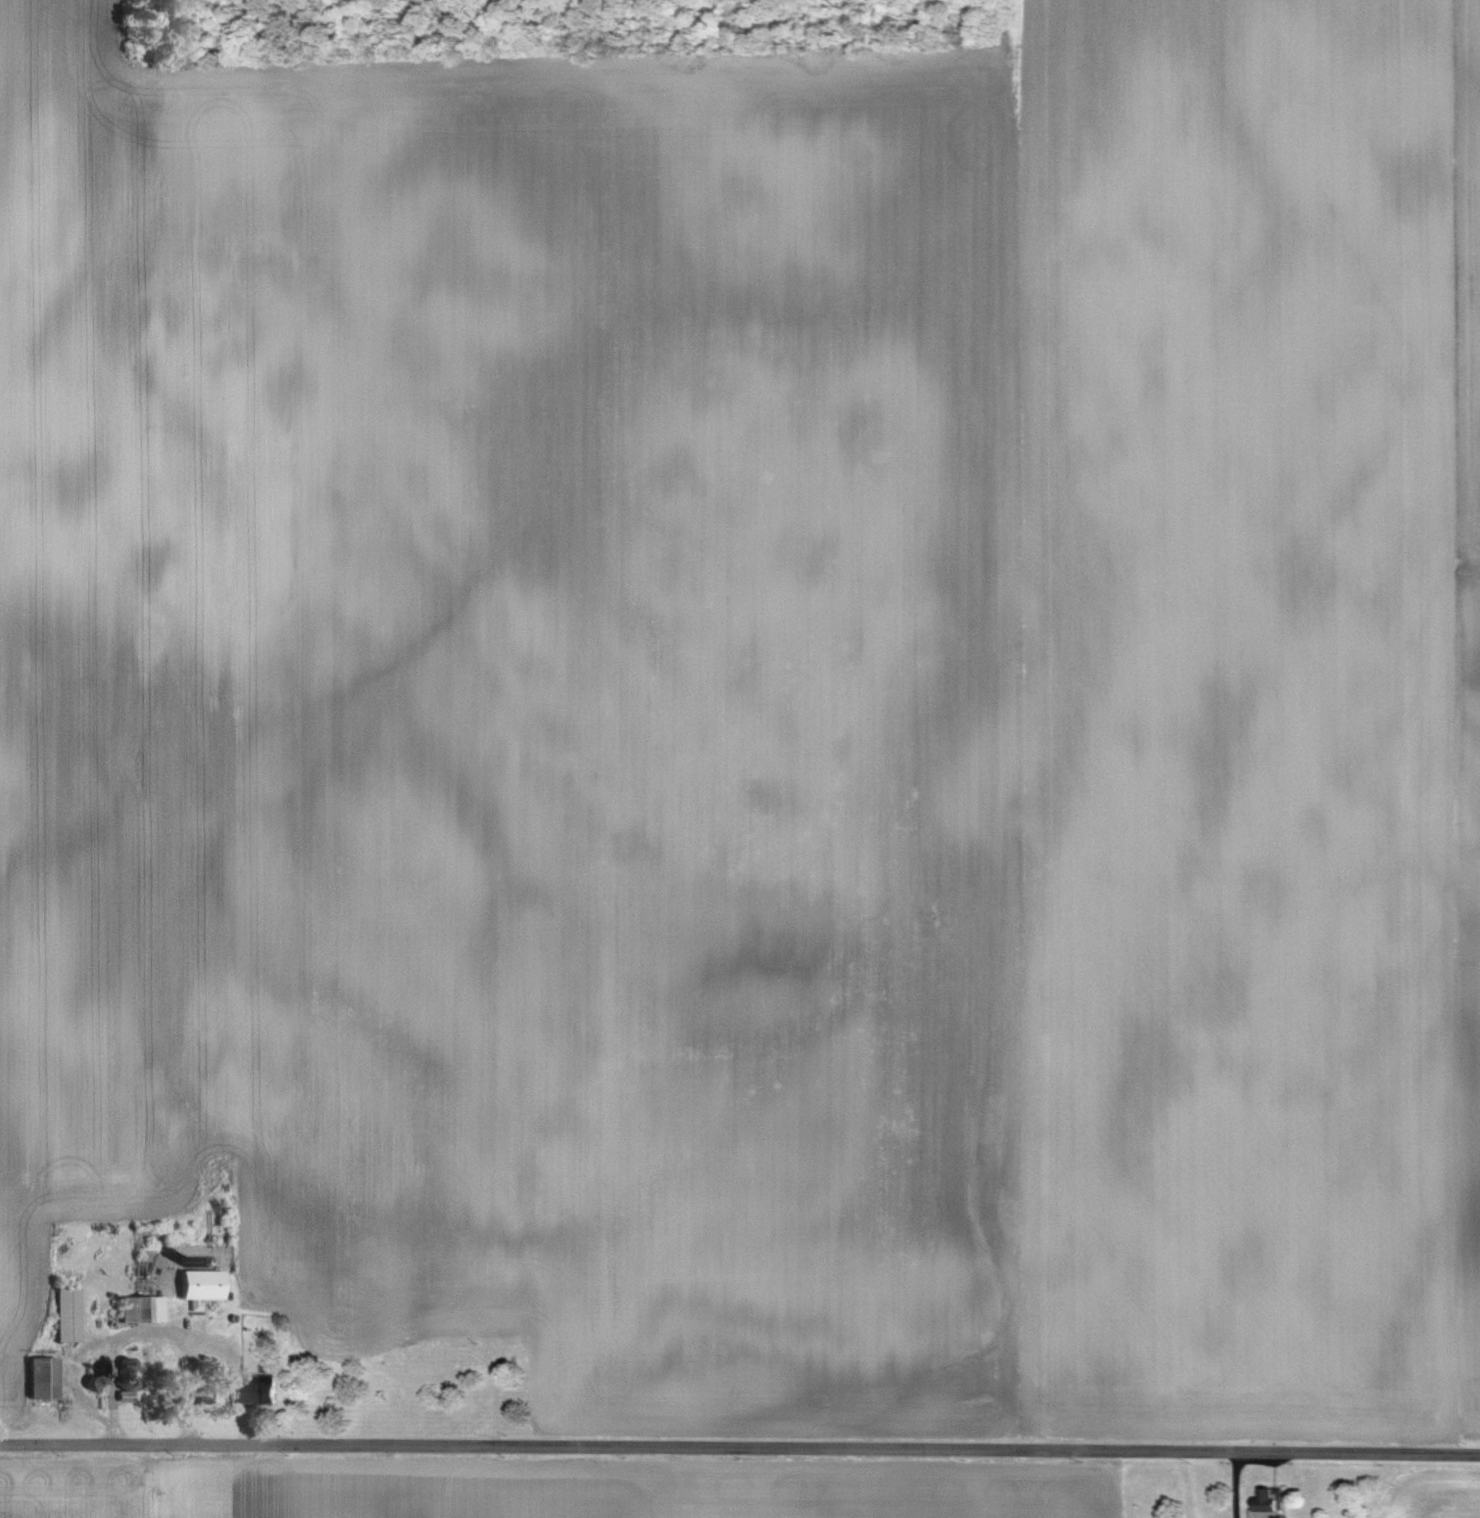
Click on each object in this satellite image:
building: (195, 1285)
building: (136, 1309)
building: (62, 1315)
building: (153, 1361)
building: (121, 1365)
building: (36, 1378)
building: (122, 1384)
building: (249, 1393)
road: (740, 1449)
building: (1268, 1504)

